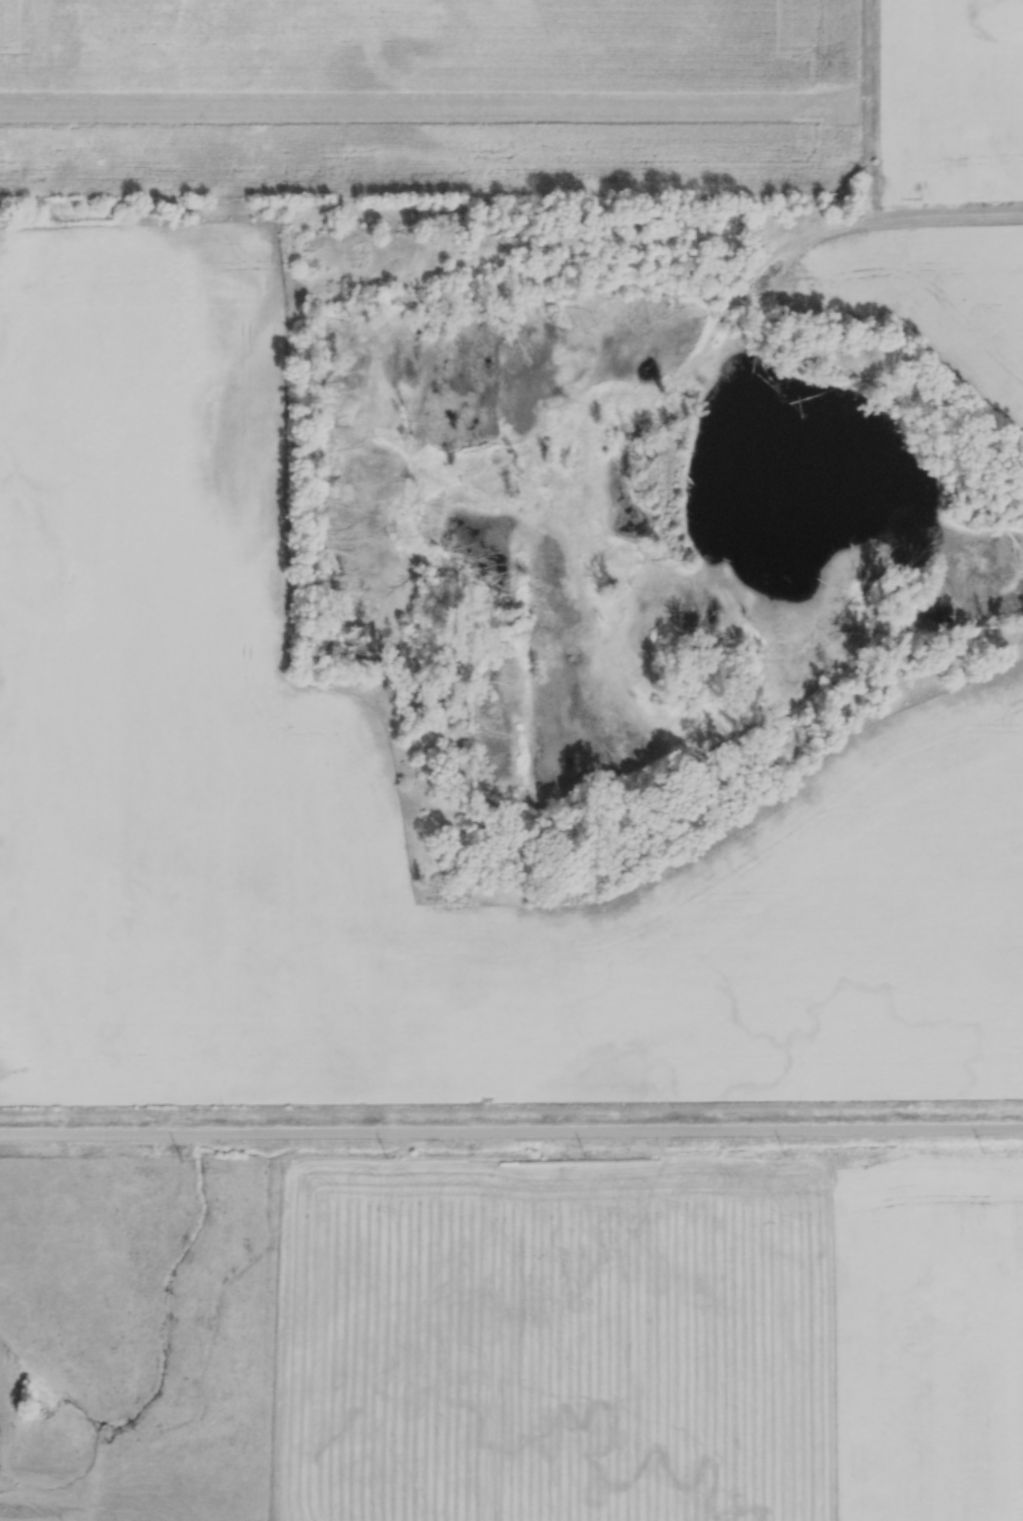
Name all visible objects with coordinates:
airport: (438, 102)
airport runway: (430, 106)
road: (511, 1130)

